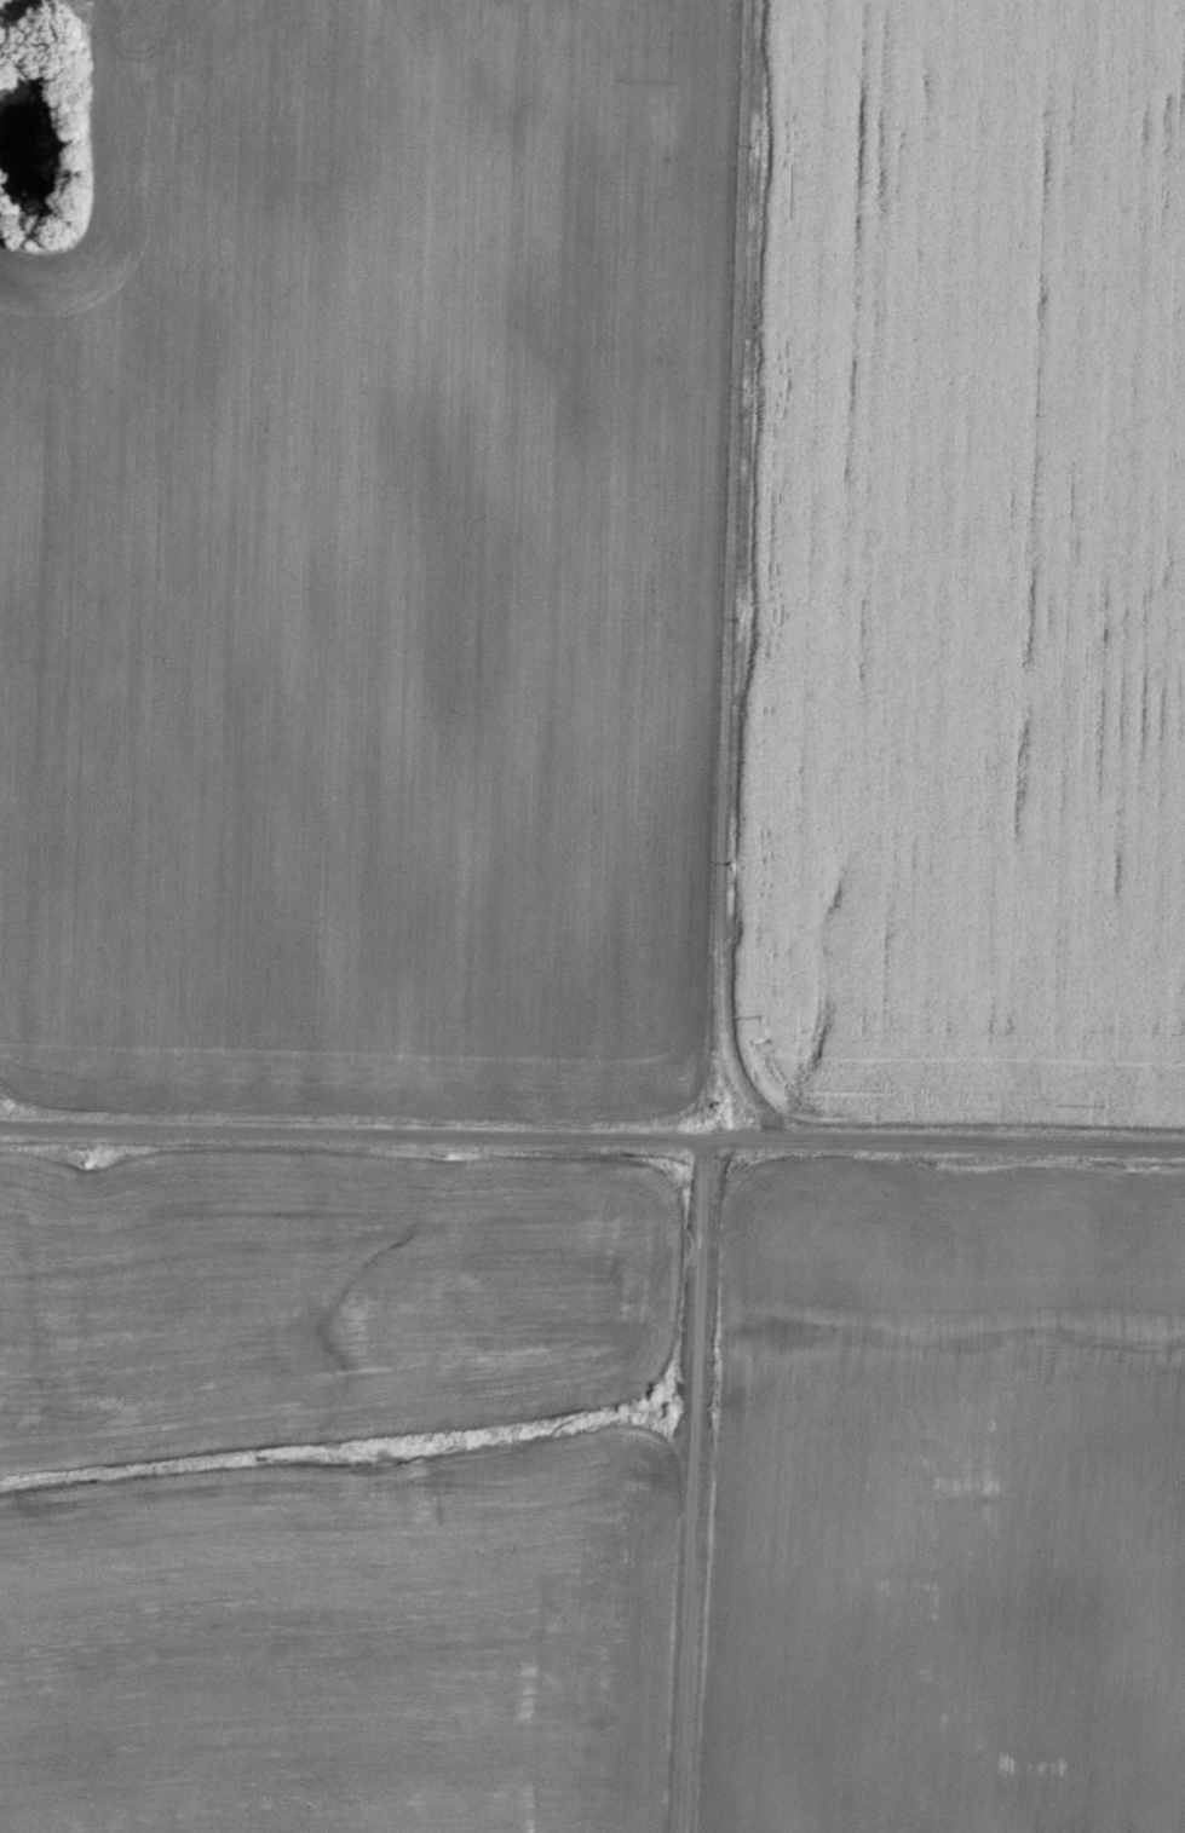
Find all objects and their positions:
road: (729, 569)
road: (592, 1136)
road: (692, 1485)

